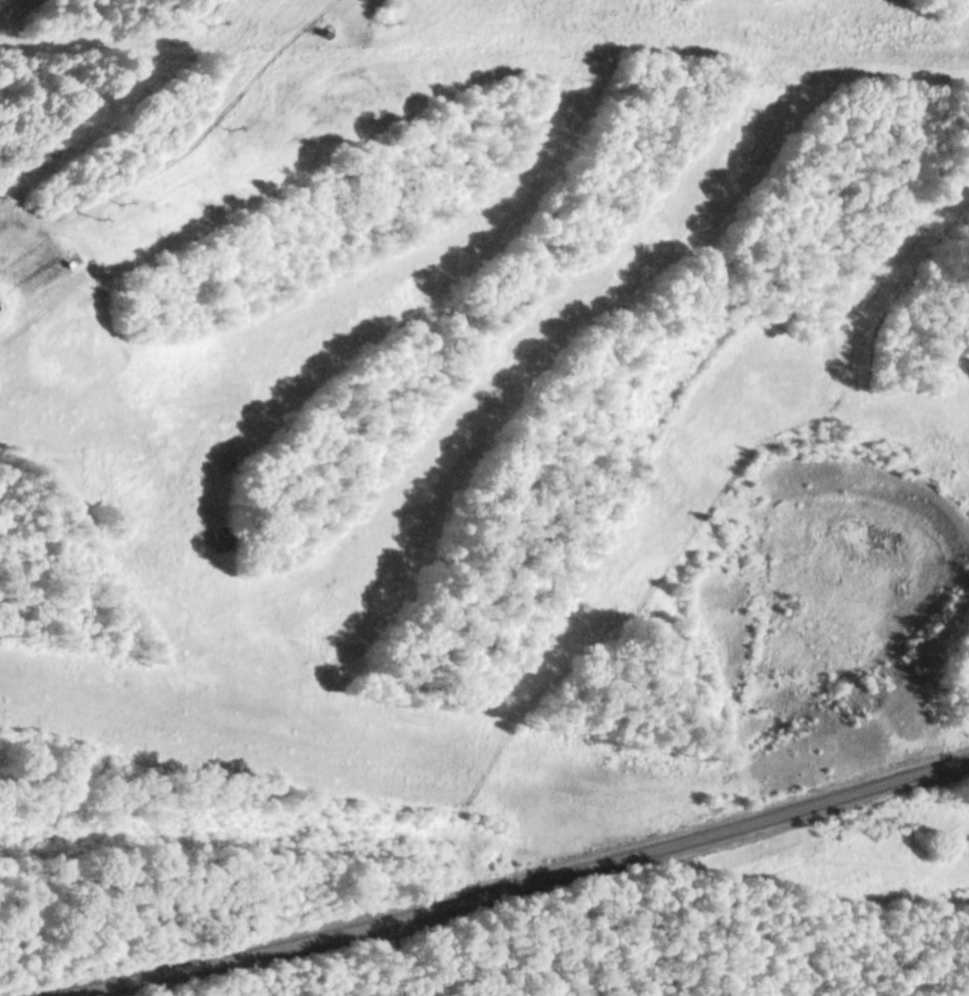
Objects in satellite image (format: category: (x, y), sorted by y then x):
ski resort: (509, 441)
building: (216, 538)
road: (503, 884)

